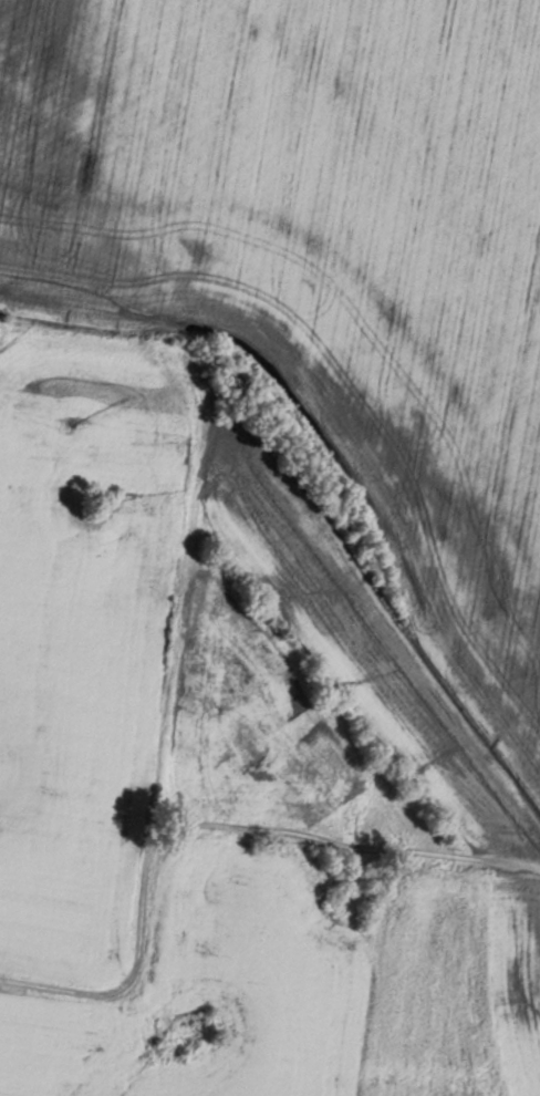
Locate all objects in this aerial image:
road: (127, 1028)

